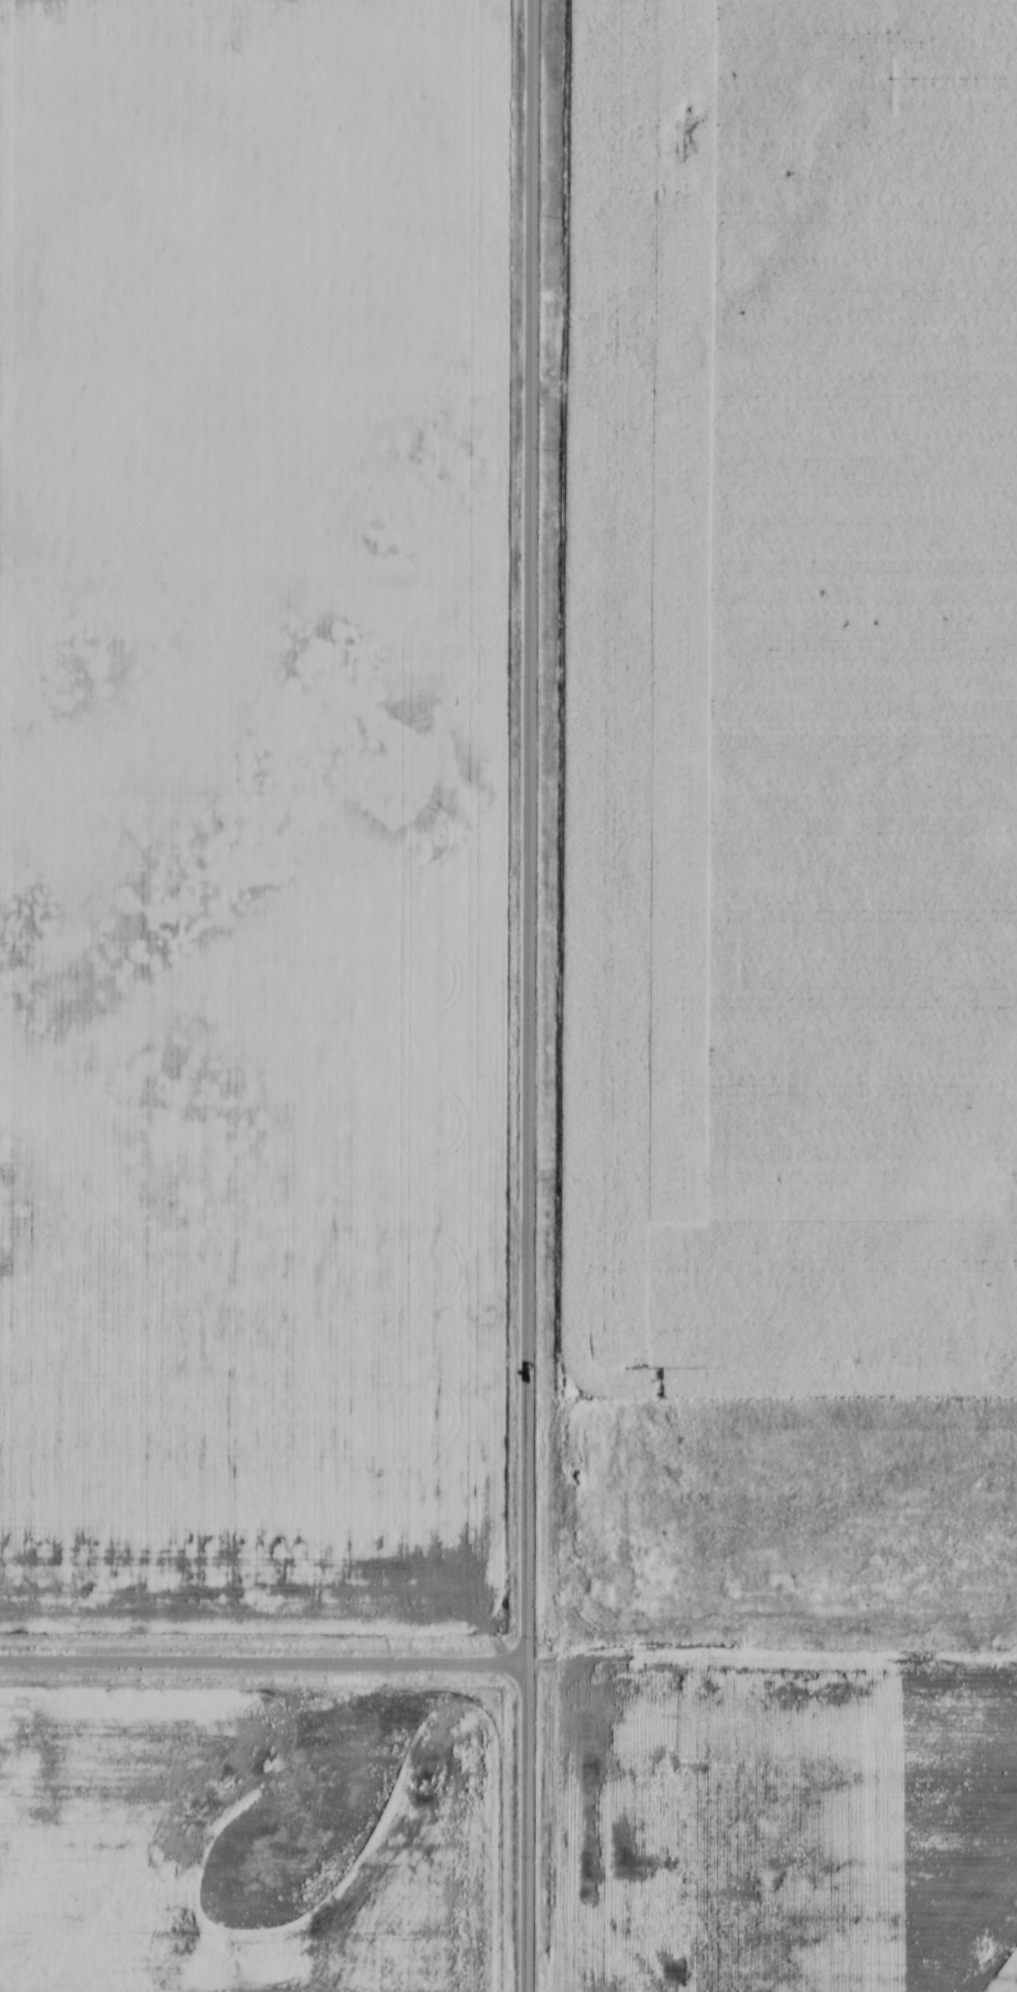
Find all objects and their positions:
road: (522, 996)
road: (258, 1647)

